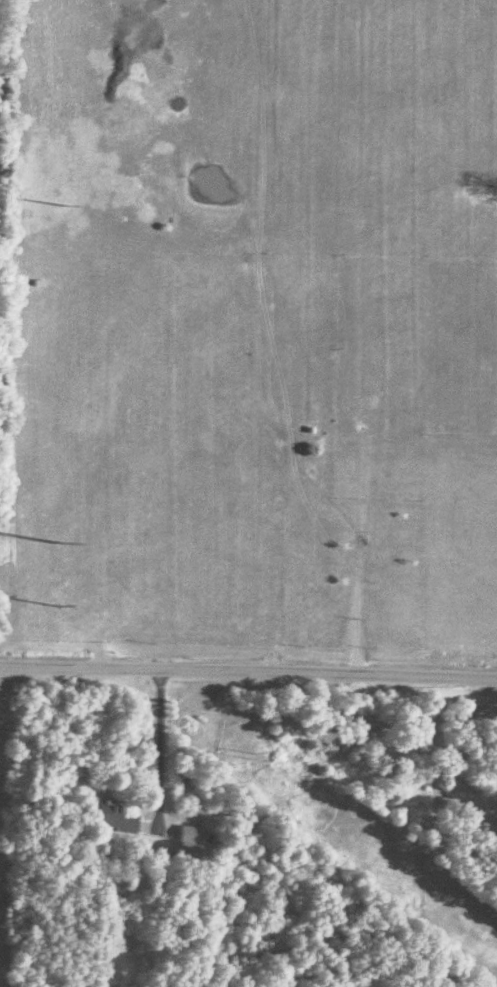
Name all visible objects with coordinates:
road: (248, 676)
road: (154, 751)
building: (113, 818)
building: (190, 841)

